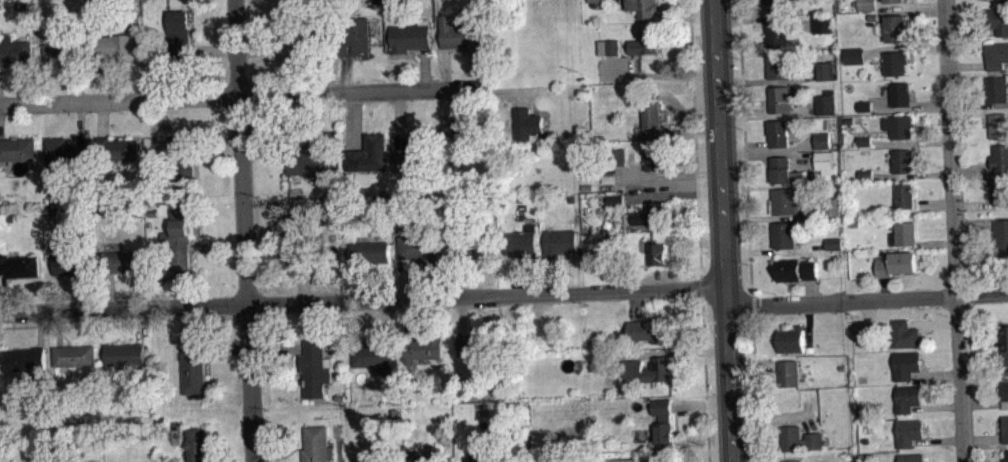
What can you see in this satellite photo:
building: (1003, 0)
building: (595, 1)
building: (896, 1)
building: (774, 5)
building: (866, 5)
road: (910, 6)
building: (642, 8)
road: (739, 8)
road: (914, 12)
road: (746, 15)
building: (872, 16)
road: (765, 19)
building: (998, 20)
building: (823, 23)
building: (293, 29)
building: (896, 30)
road: (972, 32)
building: (778, 33)
building: (178, 35)
building: (459, 36)
building: (354, 37)
road: (691, 38)
building: (409, 39)
building: (645, 43)
building: (116, 47)
building: (608, 47)
road: (905, 47)
road: (212, 50)
building: (14, 51)
building: (64, 51)
road: (259, 51)
building: (856, 55)
building: (997, 55)
building: (896, 62)
building: (778, 64)
road: (968, 66)
road: (446, 68)
road: (424, 69)
building: (825, 70)
road: (345, 74)
road: (656, 76)
road: (100, 79)
road: (768, 81)
road: (78, 82)
building: (998, 89)
road: (508, 90)
building: (902, 92)
road: (240, 95)
building: (783, 98)
building: (825, 103)
road: (978, 104)
building: (865, 106)
road: (910, 107)
road: (453, 109)
building: (865, 113)
road: (769, 116)
road: (103, 119)
road: (400, 119)
road: (354, 120)
building: (653, 121)
building: (527, 122)
road: (81, 124)
building: (900, 125)
building: (999, 125)
building: (793, 126)
road: (278, 130)
road: (693, 131)
building: (779, 132)
road: (217, 140)
building: (822, 140)
building: (864, 140)
road: (911, 140)
building: (466, 142)
building: (865, 147)
building: (117, 149)
building: (588, 149)
road: (768, 149)
building: (17, 150)
building: (368, 153)
building: (416, 153)
building: (65, 154)
building: (155, 154)
building: (620, 155)
road: (746, 155)
road: (768, 155)
building: (312, 156)
building: (1000, 156)
building: (655, 158)
building: (903, 159)
building: (823, 160)
building: (181, 163)
building: (784, 170)
road: (973, 171)
building: (866, 174)
road: (669, 175)
road: (697, 175)
road: (912, 175)
building: (609, 178)
building: (1000, 190)
road: (673, 194)
building: (906, 194)
building: (615, 199)
building: (785, 200)
road: (934, 202)
road: (974, 204)
building: (832, 206)
building: (648, 214)
road: (775, 217)
road: (975, 223)
road: (244, 230)
road: (724, 230)
road: (954, 230)
building: (305, 233)
building: (904, 233)
building: (785, 234)
building: (1002, 236)
building: (180, 237)
building: (522, 242)
building: (560, 242)
building: (608, 243)
building: (834, 243)
road: (937, 243)
building: (420, 247)
building: (468, 249)
building: (834, 249)
building: (370, 251)
road: (758, 251)
building: (657, 252)
building: (124, 262)
building: (896, 262)
building: (71, 263)
building: (303, 263)
building: (19, 266)
building: (796, 269)
road: (552, 275)
road: (529, 277)
road: (405, 278)
road: (456, 278)
road: (356, 281)
road: (304, 282)
road: (701, 285)
road: (182, 287)
road: (885, 287)
road: (810, 290)
road: (111, 291)
road: (60, 292)
road: (3, 293)
road: (505, 295)
road: (2, 297)
road: (752, 304)
road: (634, 305)
road: (867, 314)
road: (462, 315)
road: (385, 317)
road: (406, 318)
road: (807, 322)
road: (933, 322)
road: (141, 325)
road: (31, 326)
road: (40, 328)
road: (58, 328)
building: (648, 330)
building: (904, 334)
building: (866, 337)
building: (791, 339)
building: (1005, 343)
building: (477, 344)
road: (277, 348)
building: (424, 348)
road: (227, 349)
road: (673, 351)
building: (375, 355)
building: (75, 356)
building: (127, 356)
road: (981, 358)
building: (24, 360)
road: (749, 361)
building: (907, 363)
building: (193, 367)
building: (316, 368)
building: (647, 369)
building: (787, 372)
road: (937, 373)
road: (704, 379)
road: (754, 388)
building: (1005, 389)
building: (908, 396)
road: (701, 404)
road: (985, 405)
road: (937, 407)
road: (778, 417)
building: (663, 420)
road: (808, 421)
building: (1005, 428)
building: (909, 431)
building: (801, 438)
road: (938, 441)
road: (982, 442)
building: (197, 444)
building: (317, 444)
building: (382, 455)
building: (424, 456)
building: (1006, 456)
building: (911, 457)
building: (469, 458)
building: (625, 459)
building: (792, 460)
building: (497, 461)

